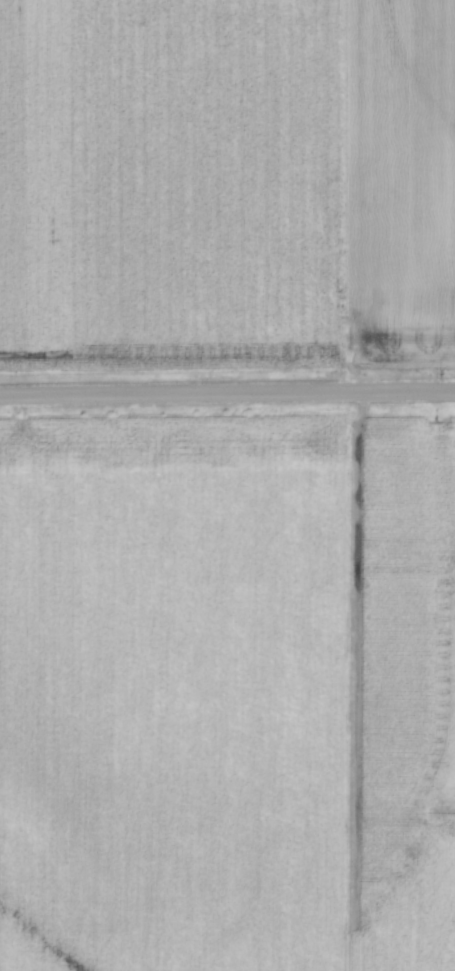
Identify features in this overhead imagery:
road: (227, 399)

